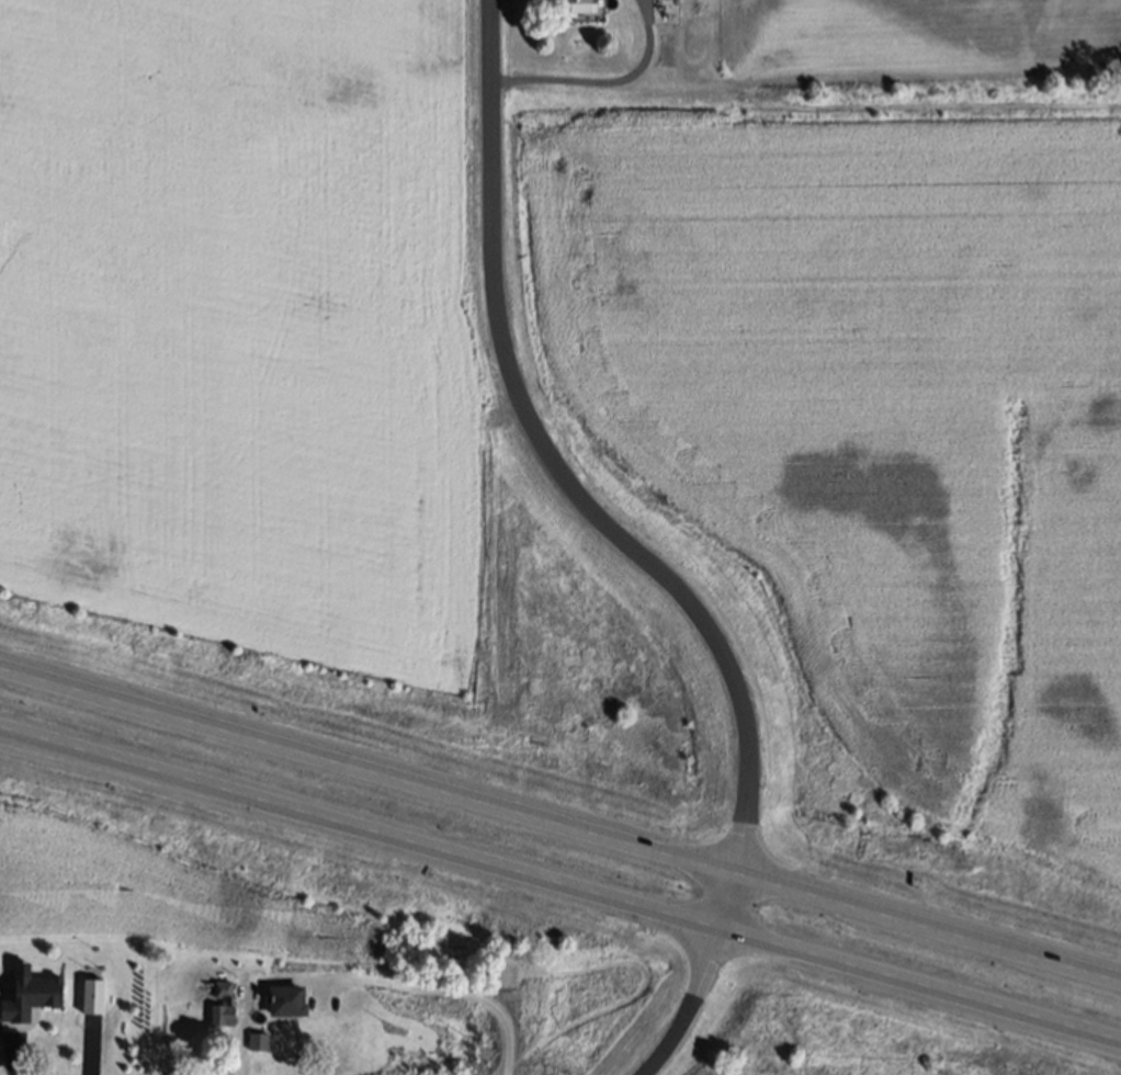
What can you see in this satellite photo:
building: (575, 9)
road: (604, 80)
road: (630, 548)
road: (139, 778)
road: (559, 824)
road: (559, 891)
road: (462, 992)
building: (94, 996)
building: (30, 997)
building: (286, 1000)
building: (223, 1006)
building: (259, 1041)

